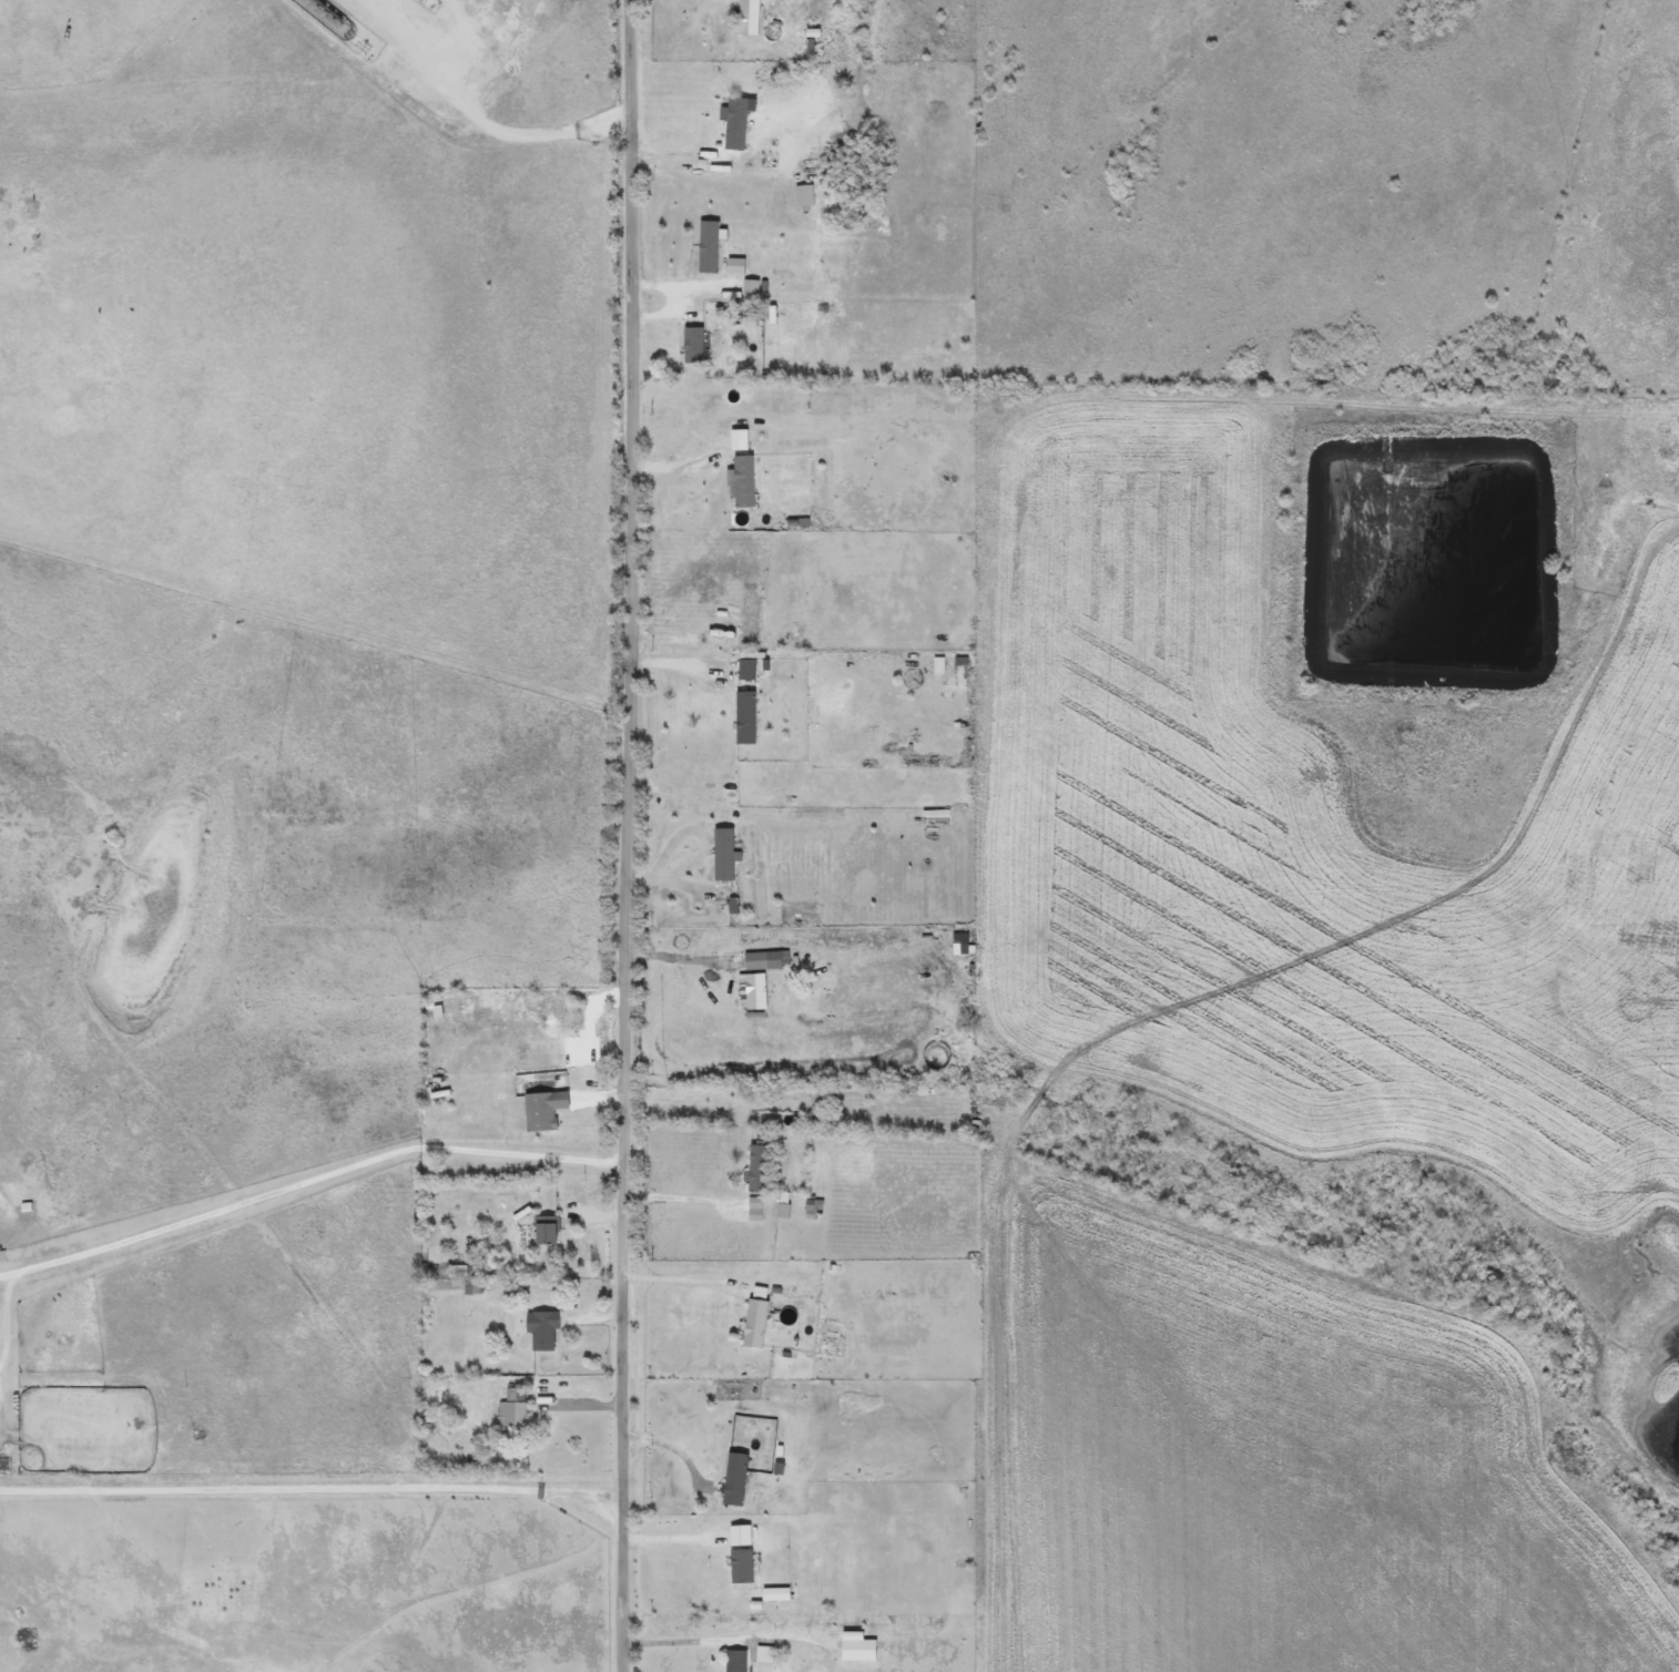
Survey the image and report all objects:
building: (744, 18)
building: (732, 123)
road: (485, 126)
building: (703, 248)
building: (731, 268)
building: (689, 346)
building: (740, 482)
building: (746, 616)
building: (743, 672)
building: (742, 720)
road: (634, 836)
building: (719, 854)
road: (683, 955)
building: (752, 991)
building: (539, 1110)
building: (753, 1169)
road: (308, 1179)
road: (680, 1200)
building: (751, 1210)
building: (541, 1231)
building: (462, 1271)
road: (681, 1284)
building: (751, 1319)
building: (540, 1331)
building: (509, 1414)
road: (678, 1450)
building: (732, 1480)
road: (314, 1489)
road: (672, 1541)
road: (689, 1643)
road: (1404, 1653)
building: (731, 1661)

